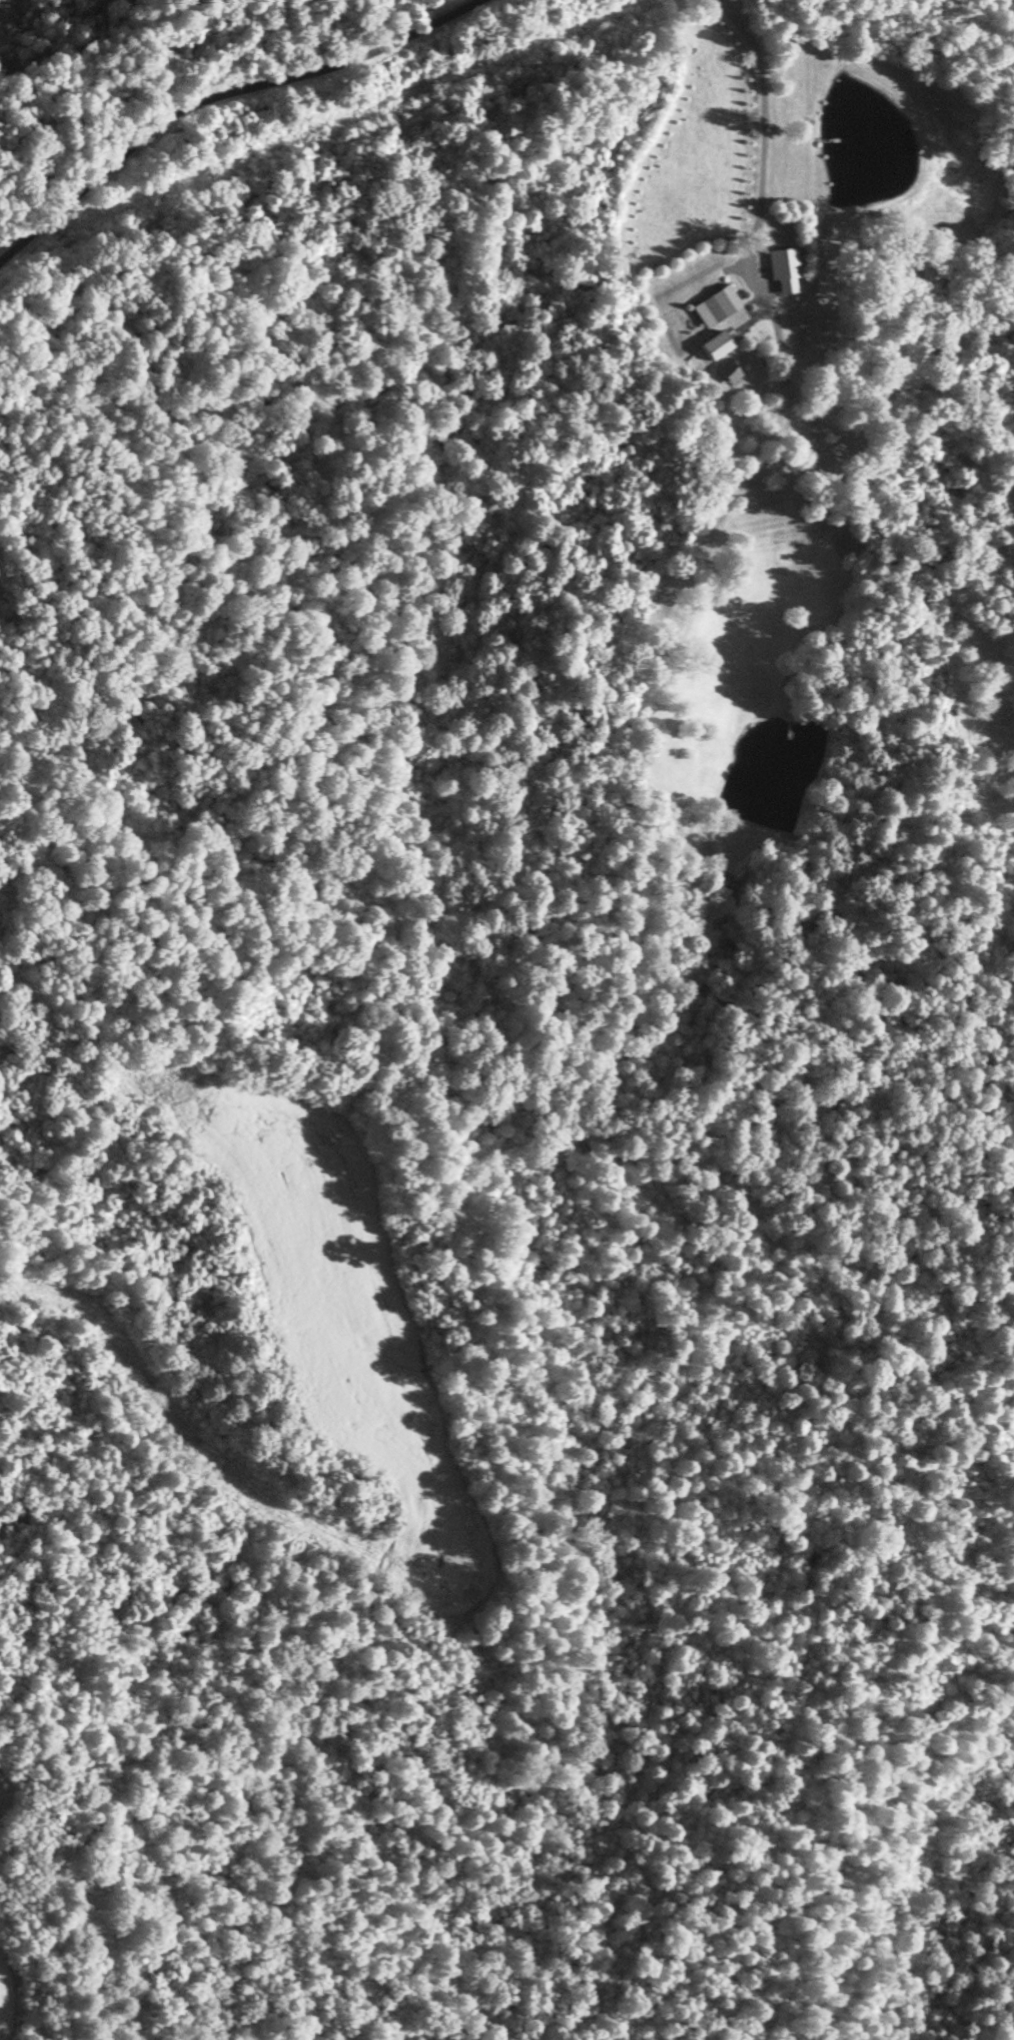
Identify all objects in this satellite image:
road: (222, 97)
road: (735, 269)
building: (782, 269)
building: (715, 307)
building: (718, 344)
building: (727, 374)

